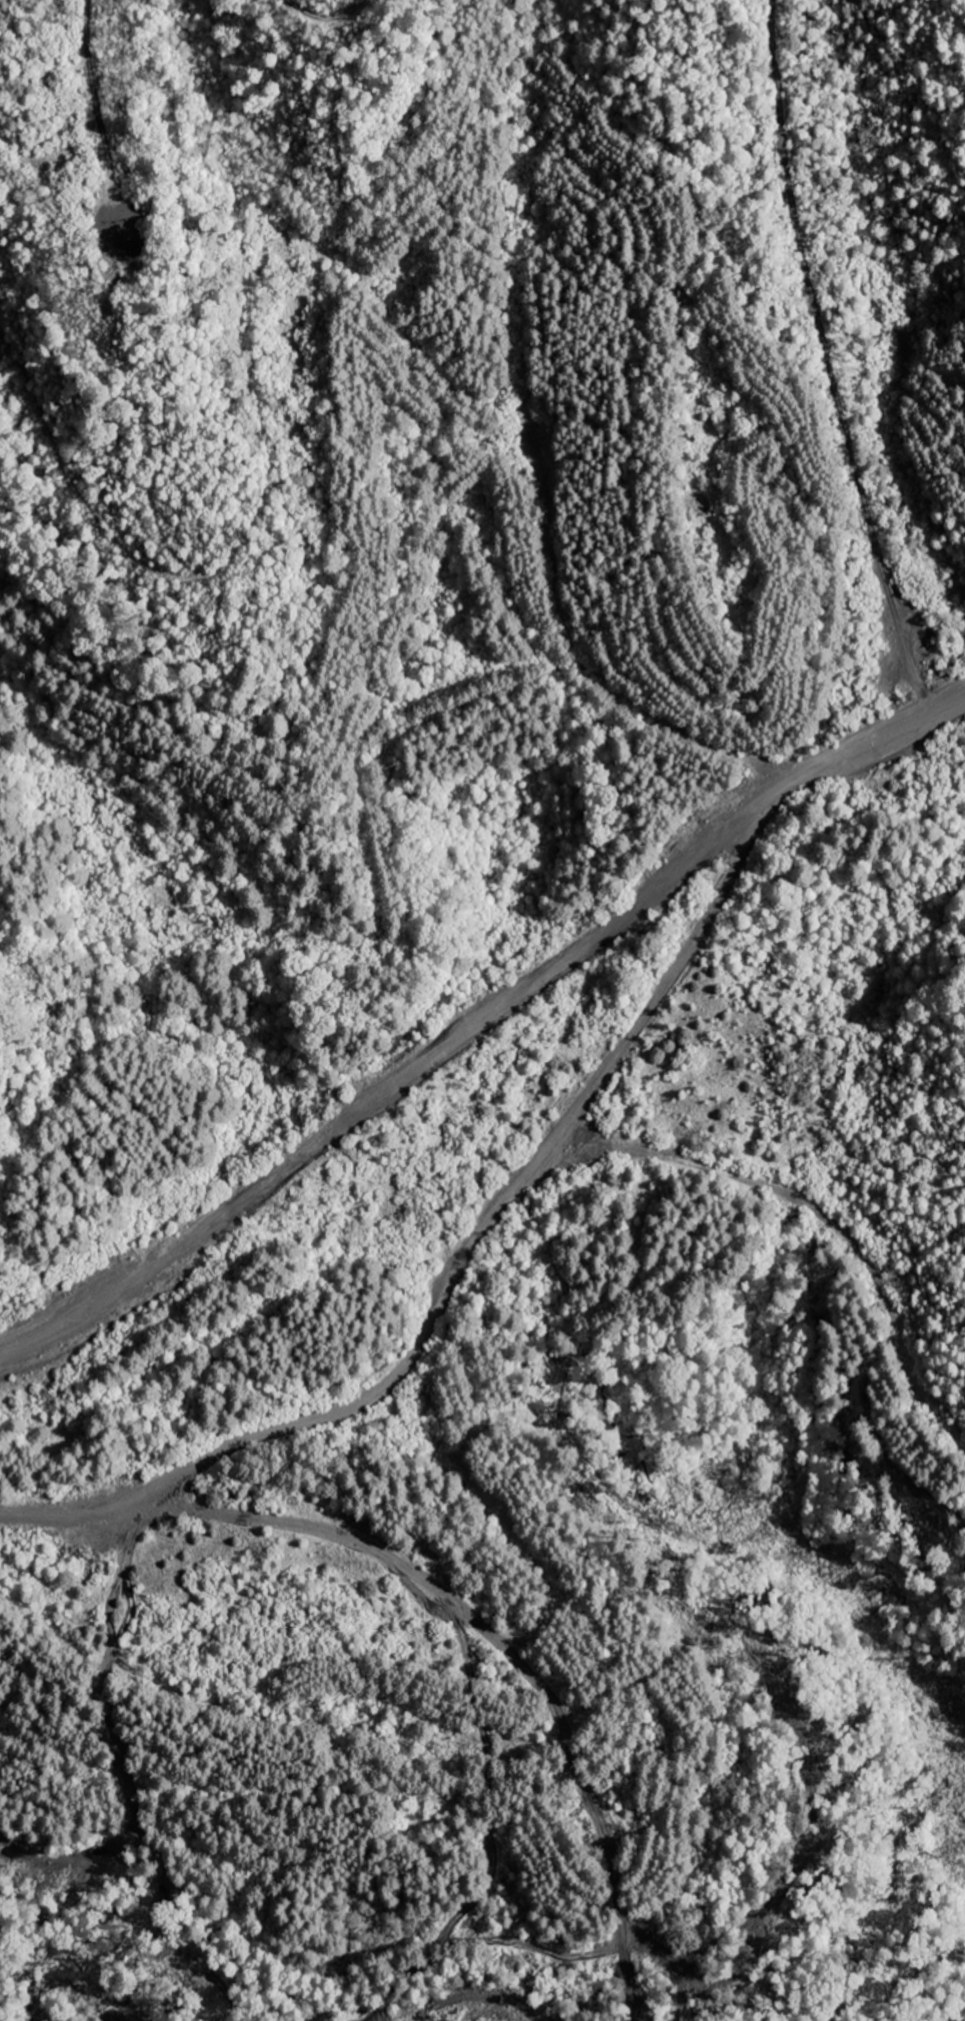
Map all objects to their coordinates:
road: (323, 20)
road: (95, 149)
road: (823, 358)
road: (492, 405)
road: (674, 965)
road: (504, 1198)

